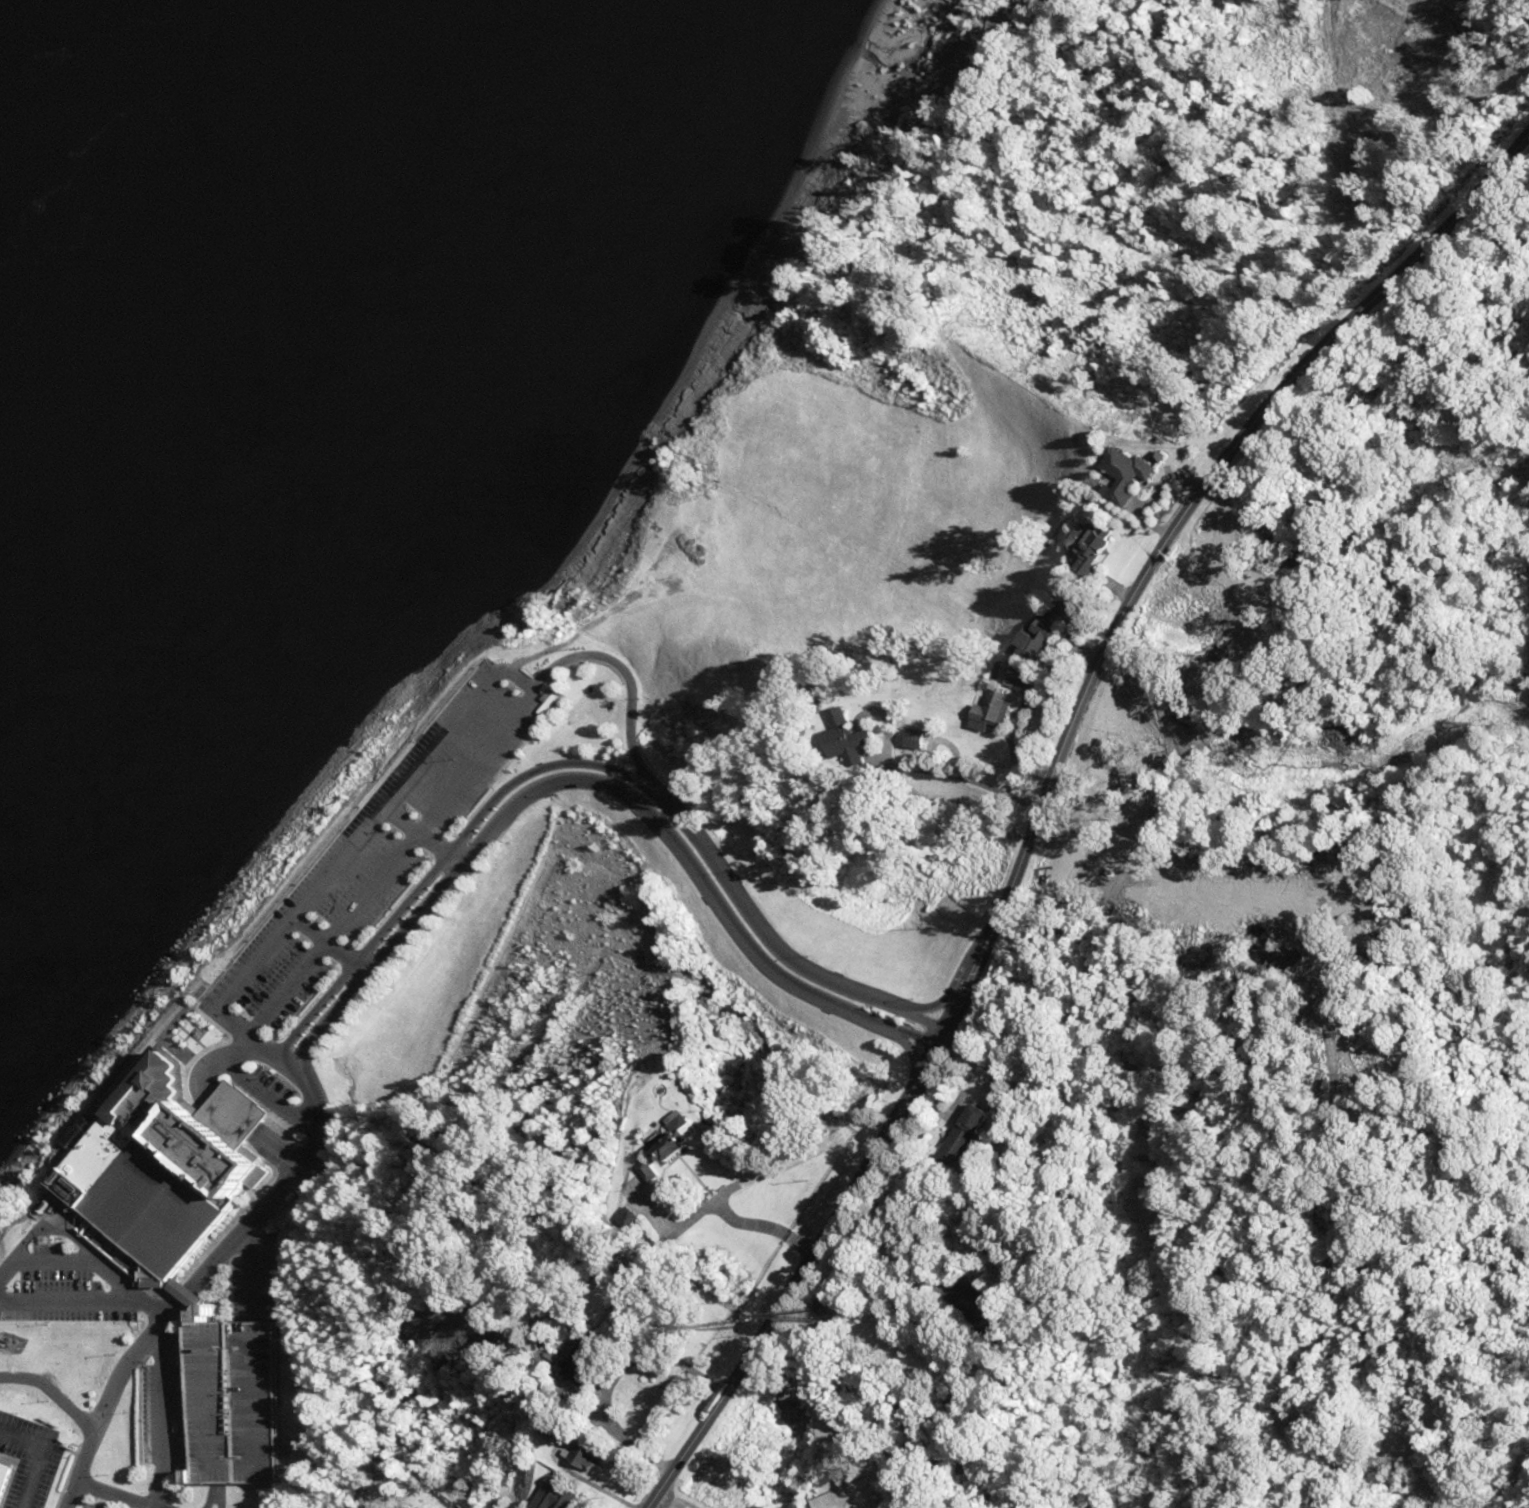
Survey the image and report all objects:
building: (1132, 474)
building: (1102, 541)
building: (1041, 635)
building: (996, 709)
building: (852, 739)
road: (1012, 758)
building: (970, 1134)
building: (680, 1139)
building: (184, 1226)
building: (582, 1369)
building: (589, 1457)
building: (8, 1482)
building: (561, 1494)

